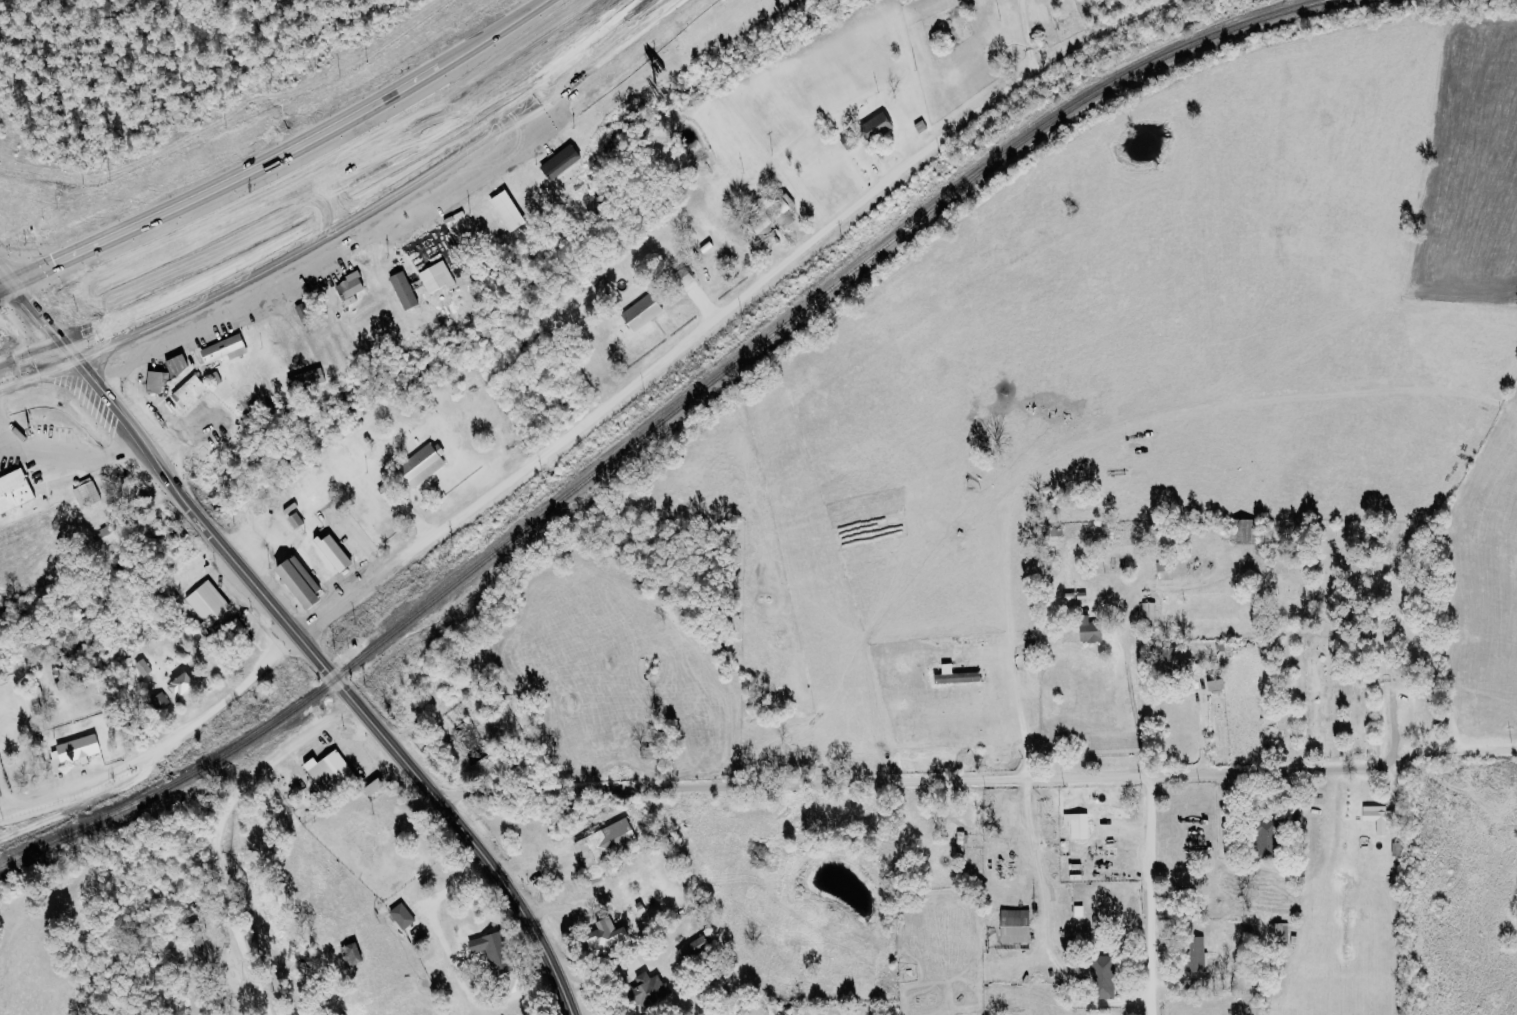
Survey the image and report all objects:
road: (1027, 33)
building: (880, 127)
building: (851, 140)
road: (281, 157)
building: (564, 162)
building: (562, 183)
road: (375, 205)
building: (512, 210)
traffic signals: (44, 267)
building: (439, 277)
building: (354, 287)
building: (407, 290)
building: (646, 311)
road: (27, 322)
building: (298, 340)
building: (354, 344)
building: (229, 348)
road: (665, 354)
traffic signals: (32, 363)
road: (27, 364)
building: (182, 364)
building: (309, 380)
building: (160, 381)
traffic signals: (77, 382)
building: (192, 391)
road: (91, 398)
railway: (656, 422)
parking lot: (54, 432)
road: (7, 444)
road: (64, 457)
building: (427, 463)
parking lot: (11, 467)
parking lot: (34, 473)
building: (390, 488)
building: (16, 491)
building: (90, 493)
building: (1241, 531)
road: (253, 535)
building: (108, 536)
building: (339, 552)
building: (305, 582)
building: (210, 603)
building: (1148, 612)
park: (1346, 627)
building: (1087, 630)
building: (1175, 660)
building: (953, 675)
building: (187, 684)
building: (1213, 684)
road: (225, 693)
building: (162, 701)
road: (1131, 710)
road: (364, 718)
road: (1018, 720)
road: (1200, 728)
building: (471, 739)
building: (77, 751)
building: (326, 769)
road: (76, 775)
road: (975, 780)
road: (3, 790)
road: (82, 797)
building: (1375, 818)
building: (1075, 824)
road: (214, 831)
building: (1261, 837)
building: (602, 841)
building: (959, 842)
road: (1145, 895)
building: (400, 915)
building: (1012, 925)
building: (1278, 932)
building: (603, 935)
building: (696, 943)
building: (487, 950)
building: (348, 953)
building: (1194, 954)
building: (1101, 976)
building: (645, 989)

